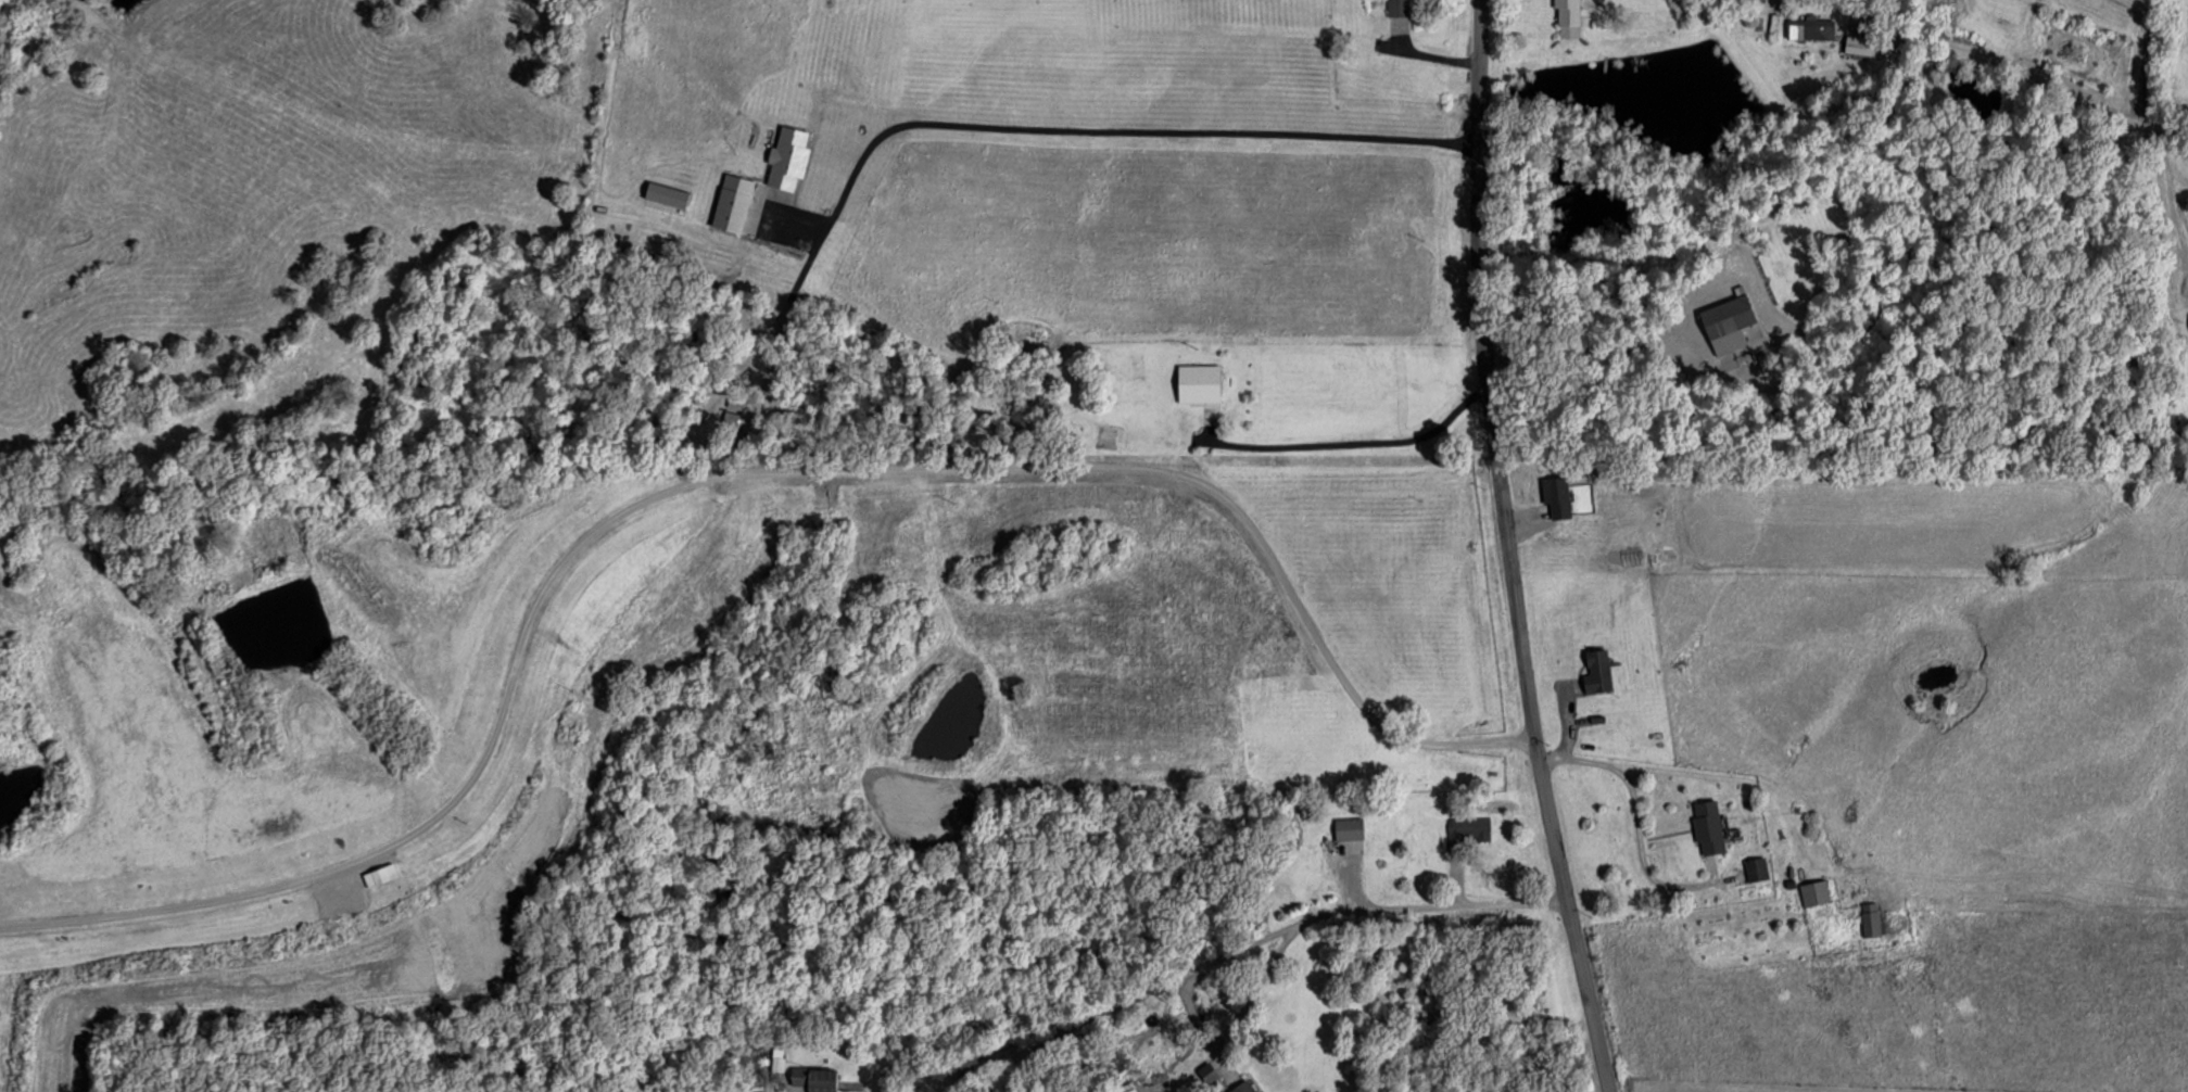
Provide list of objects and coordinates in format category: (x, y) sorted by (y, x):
building: (1397, 8)
building: (1566, 17)
building: (1809, 28)
building: (1858, 45)
road: (2140, 54)
road: (2010, 62)
building: (1725, 316)
building: (1197, 384)
building: (1106, 434)
road: (1353, 442)
building: (1555, 497)
road: (1506, 550)
building: (1596, 672)
building: (1706, 827)
building: (1348, 828)
building: (1464, 829)
building: (1755, 869)
building: (1813, 893)
building: (1869, 919)
road: (1241, 945)
building: (776, 1065)
building: (813, 1079)
building: (1243, 1087)

